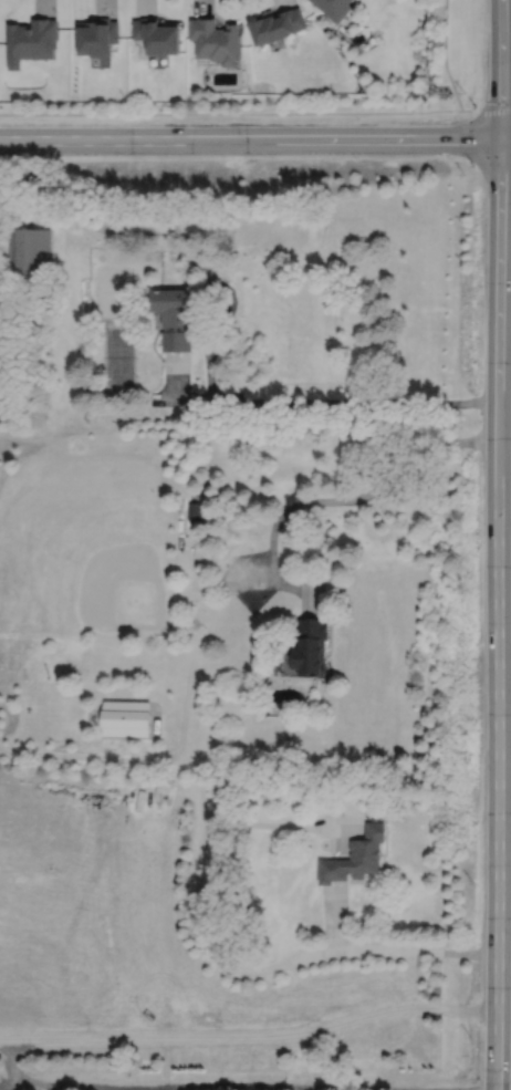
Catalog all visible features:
building: (335, 7)
building: (277, 23)
building: (97, 34)
building: (157, 34)
building: (30, 39)
building: (216, 39)
road: (446, 55)
road: (501, 69)
street lamp: (476, 105)
road: (487, 108)
road: (231, 112)
road: (249, 138)
traffic signals: (500, 138)
road: (505, 138)
street lamp: (473, 164)
road: (20, 205)
road: (125, 226)
building: (30, 248)
road: (202, 297)
building: (174, 318)
park: (118, 354)
road: (178, 376)
road: (324, 401)
road: (335, 500)
building: (195, 511)
road: (304, 586)
road: (499, 613)
building: (310, 646)
building: (126, 717)
road: (279, 824)
building: (356, 855)
road: (234, 964)
road: (250, 1035)
road: (223, 1086)
road: (163, 1088)
road: (302, 1089)

